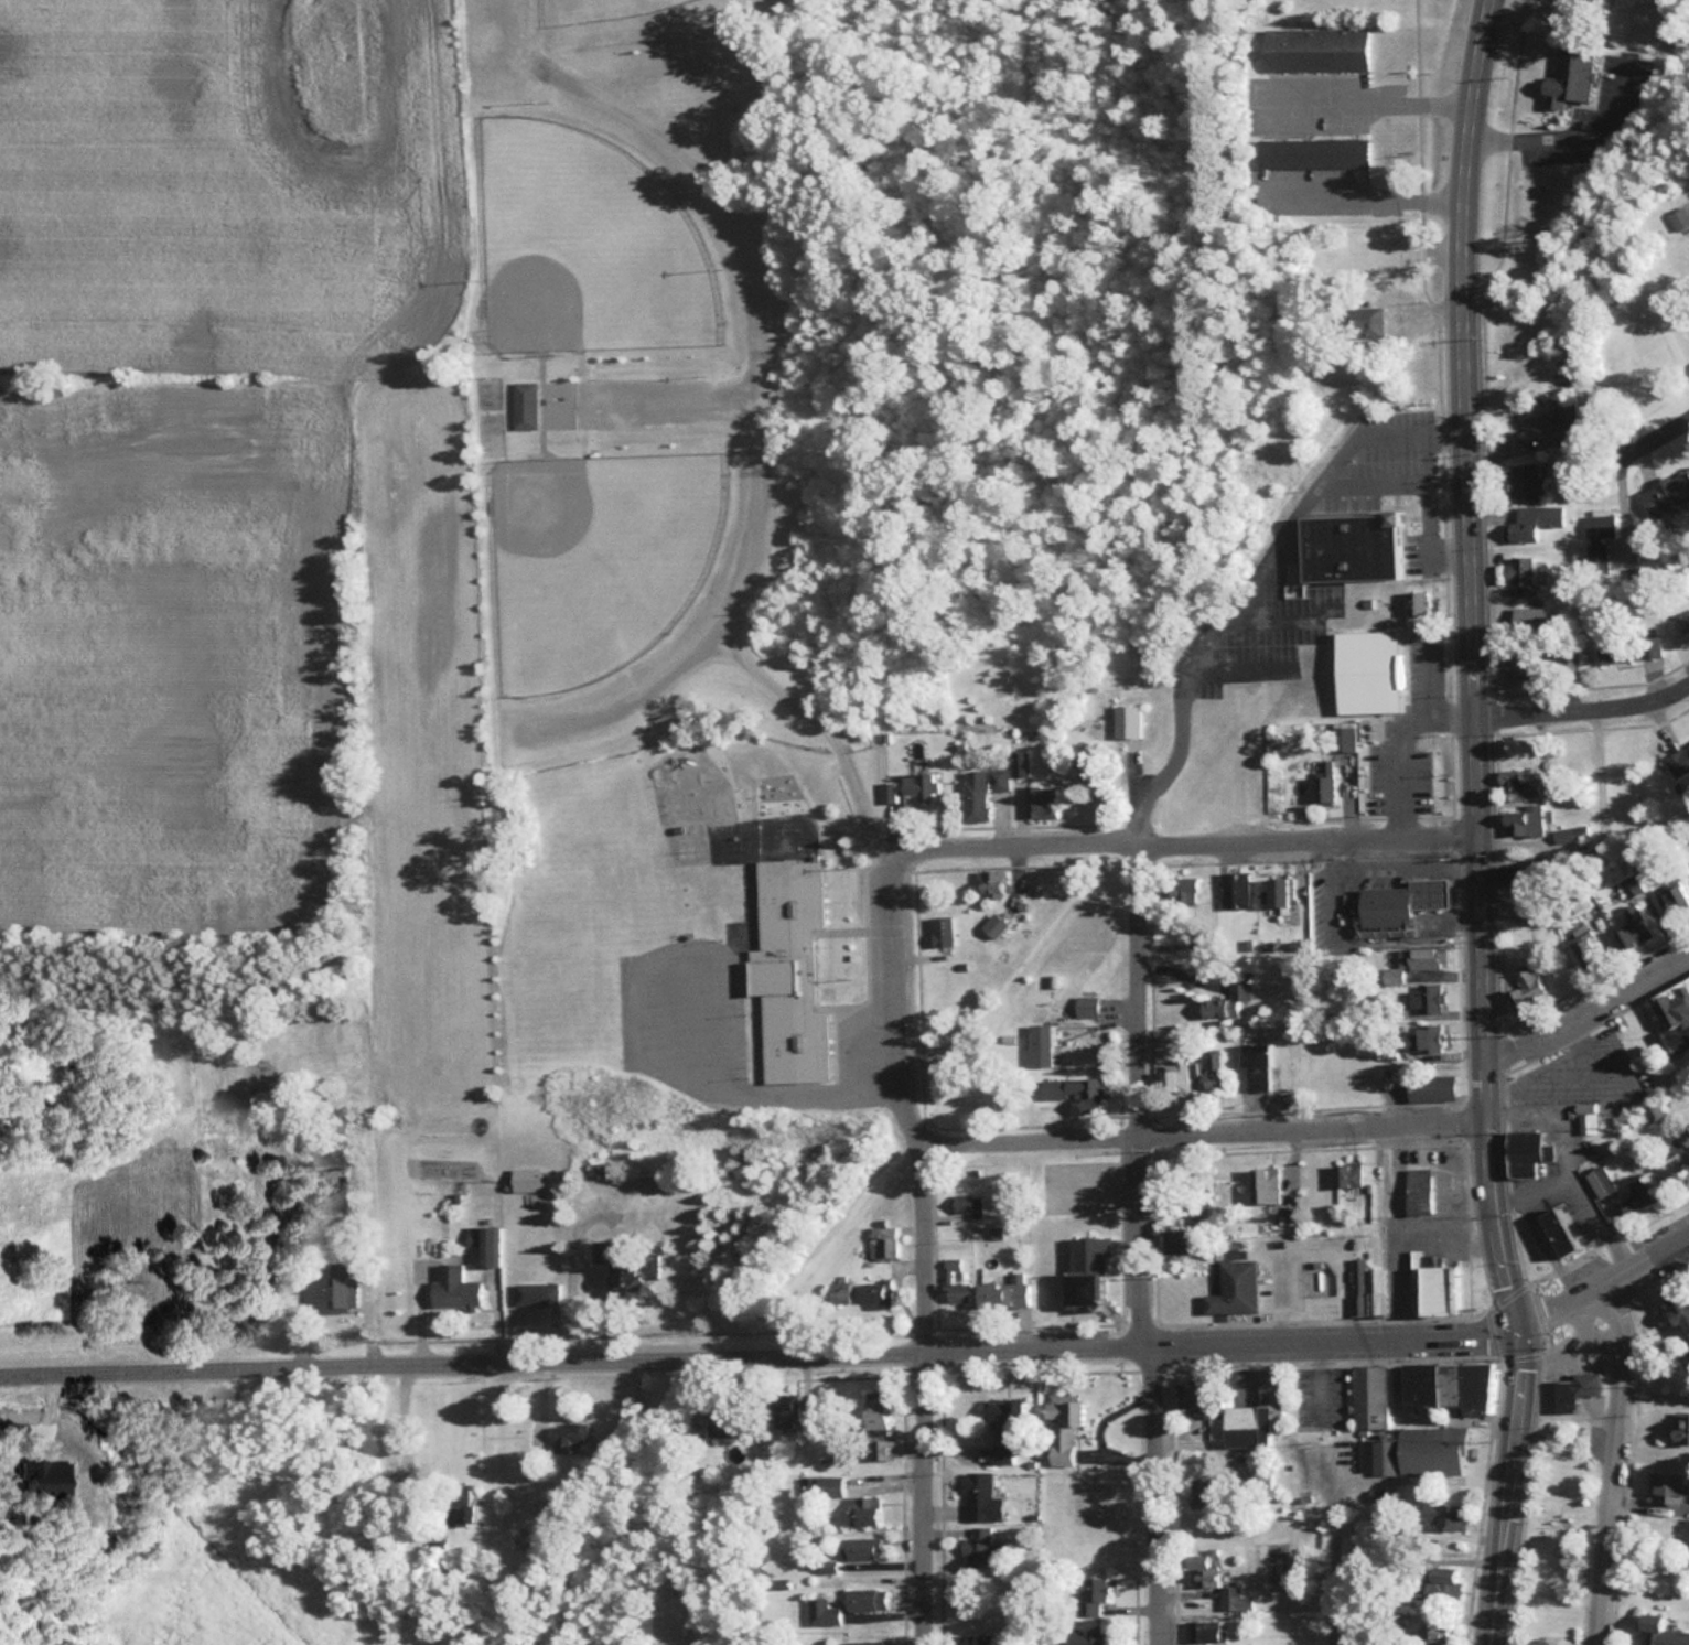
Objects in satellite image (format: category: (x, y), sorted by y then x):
building: (1313, 47)
building: (1569, 75)
road: (1364, 99)
building: (1312, 152)
road: (1365, 197)
building: (1679, 217)
building: (1366, 319)
building: (524, 404)
park: (670, 428)
road: (1669, 428)
road: (1428, 461)
building: (1524, 481)
road: (1429, 488)
building: (1670, 488)
building: (1532, 522)
building: (1596, 539)
building: (1349, 546)
building: (1519, 573)
road: (1249, 584)
building: (1678, 624)
building: (1643, 646)
building: (1607, 649)
road: (1473, 663)
building: (1521, 663)
building: (1367, 669)
road: (1582, 703)
building: (1121, 711)
building: (1344, 738)
building: (1424, 742)
building: (1677, 759)
building: (1517, 786)
building: (1410, 787)
building: (1323, 788)
building: (908, 789)
building: (1034, 789)
building: (981, 791)
building: (1524, 822)
road: (1185, 839)
building: (1515, 875)
building: (988, 882)
building: (1179, 888)
building: (1429, 891)
building: (1280, 893)
building: (1674, 903)
building: (1384, 911)
building: (992, 924)
building: (1632, 927)
building: (938, 929)
building: (1586, 945)
building: (1422, 957)
building: (786, 971)
building: (1239, 985)
building: (1526, 987)
building: (1426, 998)
road: (1589, 1003)
building: (1085, 1004)
building: (1675, 1011)
building: (1429, 1037)
building: (1040, 1044)
building: (1255, 1065)
building: (1215, 1069)
building: (1173, 1077)
building: (1431, 1087)
road: (1139, 1090)
building: (1076, 1092)
road: (1206, 1126)
building: (1686, 1133)
building: (1670, 1144)
building: (1346, 1175)
building: (525, 1179)
building: (1600, 1181)
building: (1263, 1184)
building: (1418, 1190)
building: (964, 1194)
building: (1638, 1194)
building: (333, 1196)
building: (1558, 1232)
building: (1179, 1240)
building: (881, 1241)
road: (927, 1243)
building: (485, 1244)
building: (1084, 1270)
building: (621, 1271)
building: (953, 1281)
road: (1606, 1281)
building: (1321, 1282)
building: (1434, 1286)
building: (340, 1287)
building: (1234, 1288)
building: (1365, 1288)
building: (453, 1289)
building: (838, 1291)
building: (1002, 1291)
building: (535, 1292)
building: (869, 1295)
building: (1685, 1318)
road: (761, 1346)
building: (1445, 1387)
building: (1575, 1389)
building: (1371, 1396)
road: (1652, 1396)
building: (782, 1409)
building: (872, 1412)
building: (1252, 1413)
building: (1681, 1427)
building: (1061, 1429)
building: (1001, 1430)
building: (568, 1438)
building: (880, 1449)
building: (1418, 1452)
road: (1609, 1461)
building: (1262, 1484)
road: (1513, 1485)
building: (828, 1486)
building: (1668, 1490)
road: (1162, 1492)
building: (1199, 1493)
building: (979, 1497)
building: (456, 1505)
building: (1443, 1515)
park: (1560, 1534)
building: (979, 1547)
building: (858, 1548)
building: (1202, 1568)
road: (1327, 1573)
building: (1438, 1580)
building: (1089, 1596)
building: (864, 1599)
building: (821, 1612)
building: (1435, 1628)
building: (1650, 1630)
building: (1199, 1632)
building: (1086, 1633)
building: (863, 1643)

